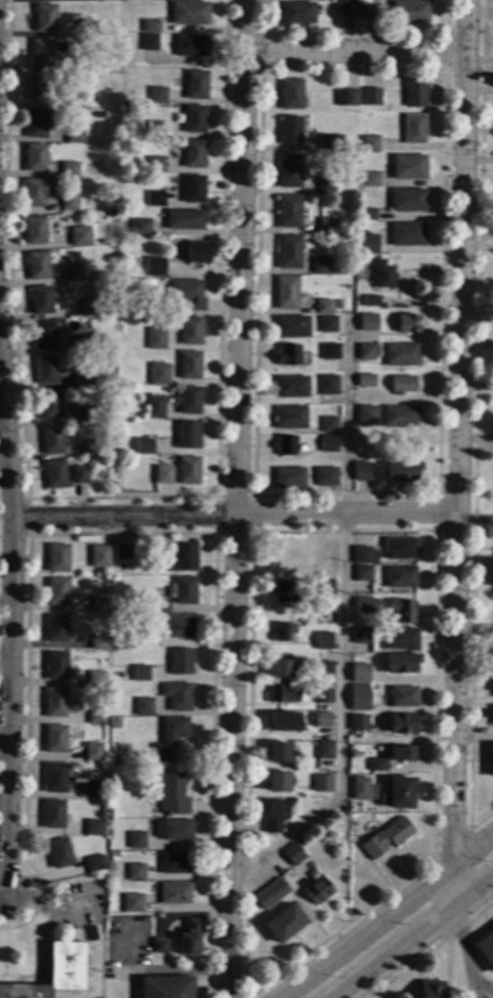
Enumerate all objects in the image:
building: (100, 0)
building: (337, 7)
building: (350, 9)
building: (370, 11)
building: (189, 13)
building: (297, 13)
building: (410, 13)
building: (45, 18)
building: (150, 26)
building: (87, 29)
building: (149, 43)
building: (191, 46)
road: (355, 52)
building: (42, 53)
building: (78, 65)
building: (196, 85)
building: (38, 88)
building: (415, 93)
building: (291, 94)
building: (158, 95)
building: (371, 97)
building: (346, 98)
building: (76, 100)
building: (99, 115)
building: (194, 119)
building: (36, 124)
building: (414, 128)
building: (157, 130)
building: (290, 131)
building: (74, 133)
building: (370, 144)
building: (329, 145)
building: (194, 154)
building: (35, 158)
building: (133, 162)
building: (156, 165)
building: (408, 168)
building: (69, 170)
building: (290, 172)
building: (370, 179)
building: (325, 185)
building: (193, 189)
building: (40, 192)
building: (114, 197)
building: (155, 199)
building: (408, 200)
building: (70, 202)
building: (289, 211)
building: (111, 215)
building: (367, 215)
building: (184, 219)
building: (326, 225)
building: (141, 227)
building: (37, 230)
building: (407, 234)
building: (81, 236)
building: (367, 248)
building: (289, 252)
building: (197, 253)
building: (39, 265)
building: (155, 266)
building: (321, 266)
building: (73, 273)
building: (383, 275)
building: (146, 282)
building: (92, 289)
building: (286, 293)
building: (187, 294)
building: (42, 301)
building: (370, 301)
building: (339, 304)
building: (90, 307)
building: (324, 307)
building: (368, 322)
building: (327, 324)
building: (408, 324)
building: (292, 327)
building: (191, 331)
building: (44, 336)
building: (156, 339)
building: (79, 343)
building: (330, 352)
building: (366, 352)
building: (288, 355)
building: (401, 355)
building: (190, 365)
building: (47, 371)
building: (159, 374)
building: (84, 377)
building: (366, 381)
building: (327, 385)
building: (402, 385)
building: (291, 387)
building: (188, 401)
building: (50, 405)
building: (155, 407)
building: (84, 414)
building: (366, 415)
building: (290, 417)
building: (400, 417)
building: (328, 425)
building: (109, 427)
road: (475, 430)
building: (188, 435)
building: (53, 441)
building: (329, 444)
building: (144, 446)
building: (286, 446)
road: (6, 448)
building: (92, 448)
road: (458, 452)
building: (188, 471)
building: (362, 472)
building: (402, 472)
building: (55, 475)
building: (81, 475)
building: (164, 475)
building: (330, 477)
building: (289, 478)
road: (239, 499)
road: (234, 517)
building: (400, 549)
building: (123, 552)
building: (101, 554)
building: (364, 556)
building: (185, 557)
building: (323, 557)
building: (58, 558)
building: (101, 568)
building: (282, 571)
building: (363, 573)
building: (400, 577)
building: (58, 591)
building: (184, 591)
building: (324, 591)
building: (284, 592)
road: (5, 602)
building: (98, 605)
building: (366, 605)
building: (161, 606)
building: (403, 610)
building: (181, 627)
road: (339, 627)
building: (57, 629)
building: (284, 633)
building: (362, 636)
building: (145, 639)
building: (401, 639)
building: (99, 641)
building: (322, 641)
building: (492, 651)
building: (181, 662)
building: (401, 664)
road: (4, 666)
building: (57, 666)
building: (281, 669)
building: (323, 670)
building: (140, 673)
building: (357, 678)
building: (96, 679)
building: (111, 686)
building: (311, 690)
building: (283, 693)
building: (323, 694)
building: (177, 696)
building: (403, 697)
building: (359, 698)
building: (55, 703)
road: (8, 705)
building: (144, 707)
building: (96, 713)
building: (492, 715)
building: (307, 719)
building: (322, 720)
building: (284, 723)
building: (358, 723)
building: (403, 723)
building: (170, 738)
building: (55, 739)
road: (4, 748)
building: (324, 750)
building: (93, 751)
building: (278, 752)
building: (402, 754)
building: (491, 759)
building: (378, 765)
building: (55, 778)
building: (278, 782)
building: (323, 784)
building: (95, 790)
building: (363, 790)
building: (398, 794)
building: (172, 796)
building: (53, 814)
building: (276, 817)
building: (93, 827)
building: (174, 829)
building: (386, 838)
building: (136, 840)
building: (59, 853)
road: (473, 854)
building: (293, 855)
building: (175, 863)
building: (94, 864)
building: (135, 872)
building: (282, 877)
building: (319, 891)
building: (270, 893)
building: (175, 894)
building: (132, 903)
building: (285, 923)
building: (91, 934)
road: (367, 934)
building: (190, 940)
road: (415, 940)
building: (158, 946)
building: (485, 949)
road: (463, 952)
road: (154, 970)
building: (53, 973)
building: (166, 987)
building: (431, 989)
road: (484, 991)
road: (475, 995)

